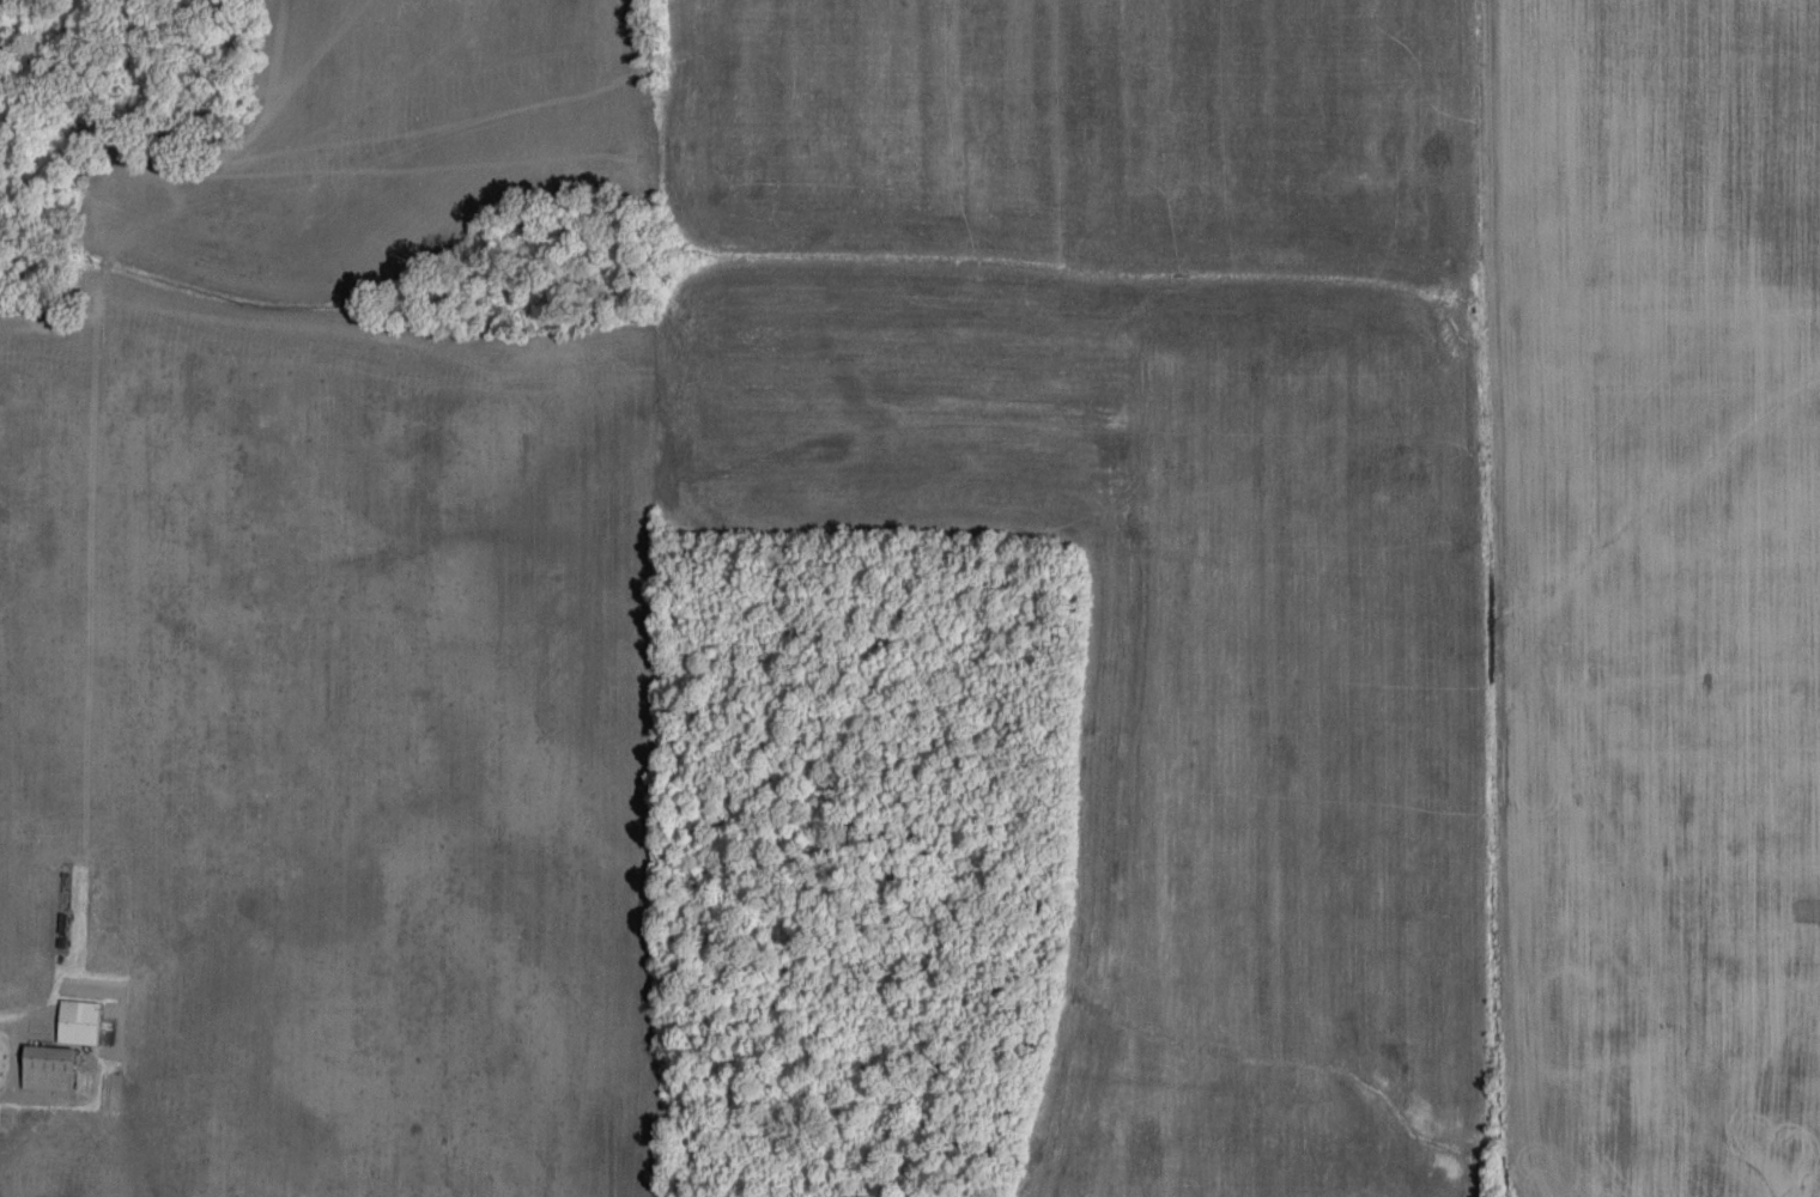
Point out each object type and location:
building: (84, 1020)
road: (10, 1063)
building: (55, 1065)

